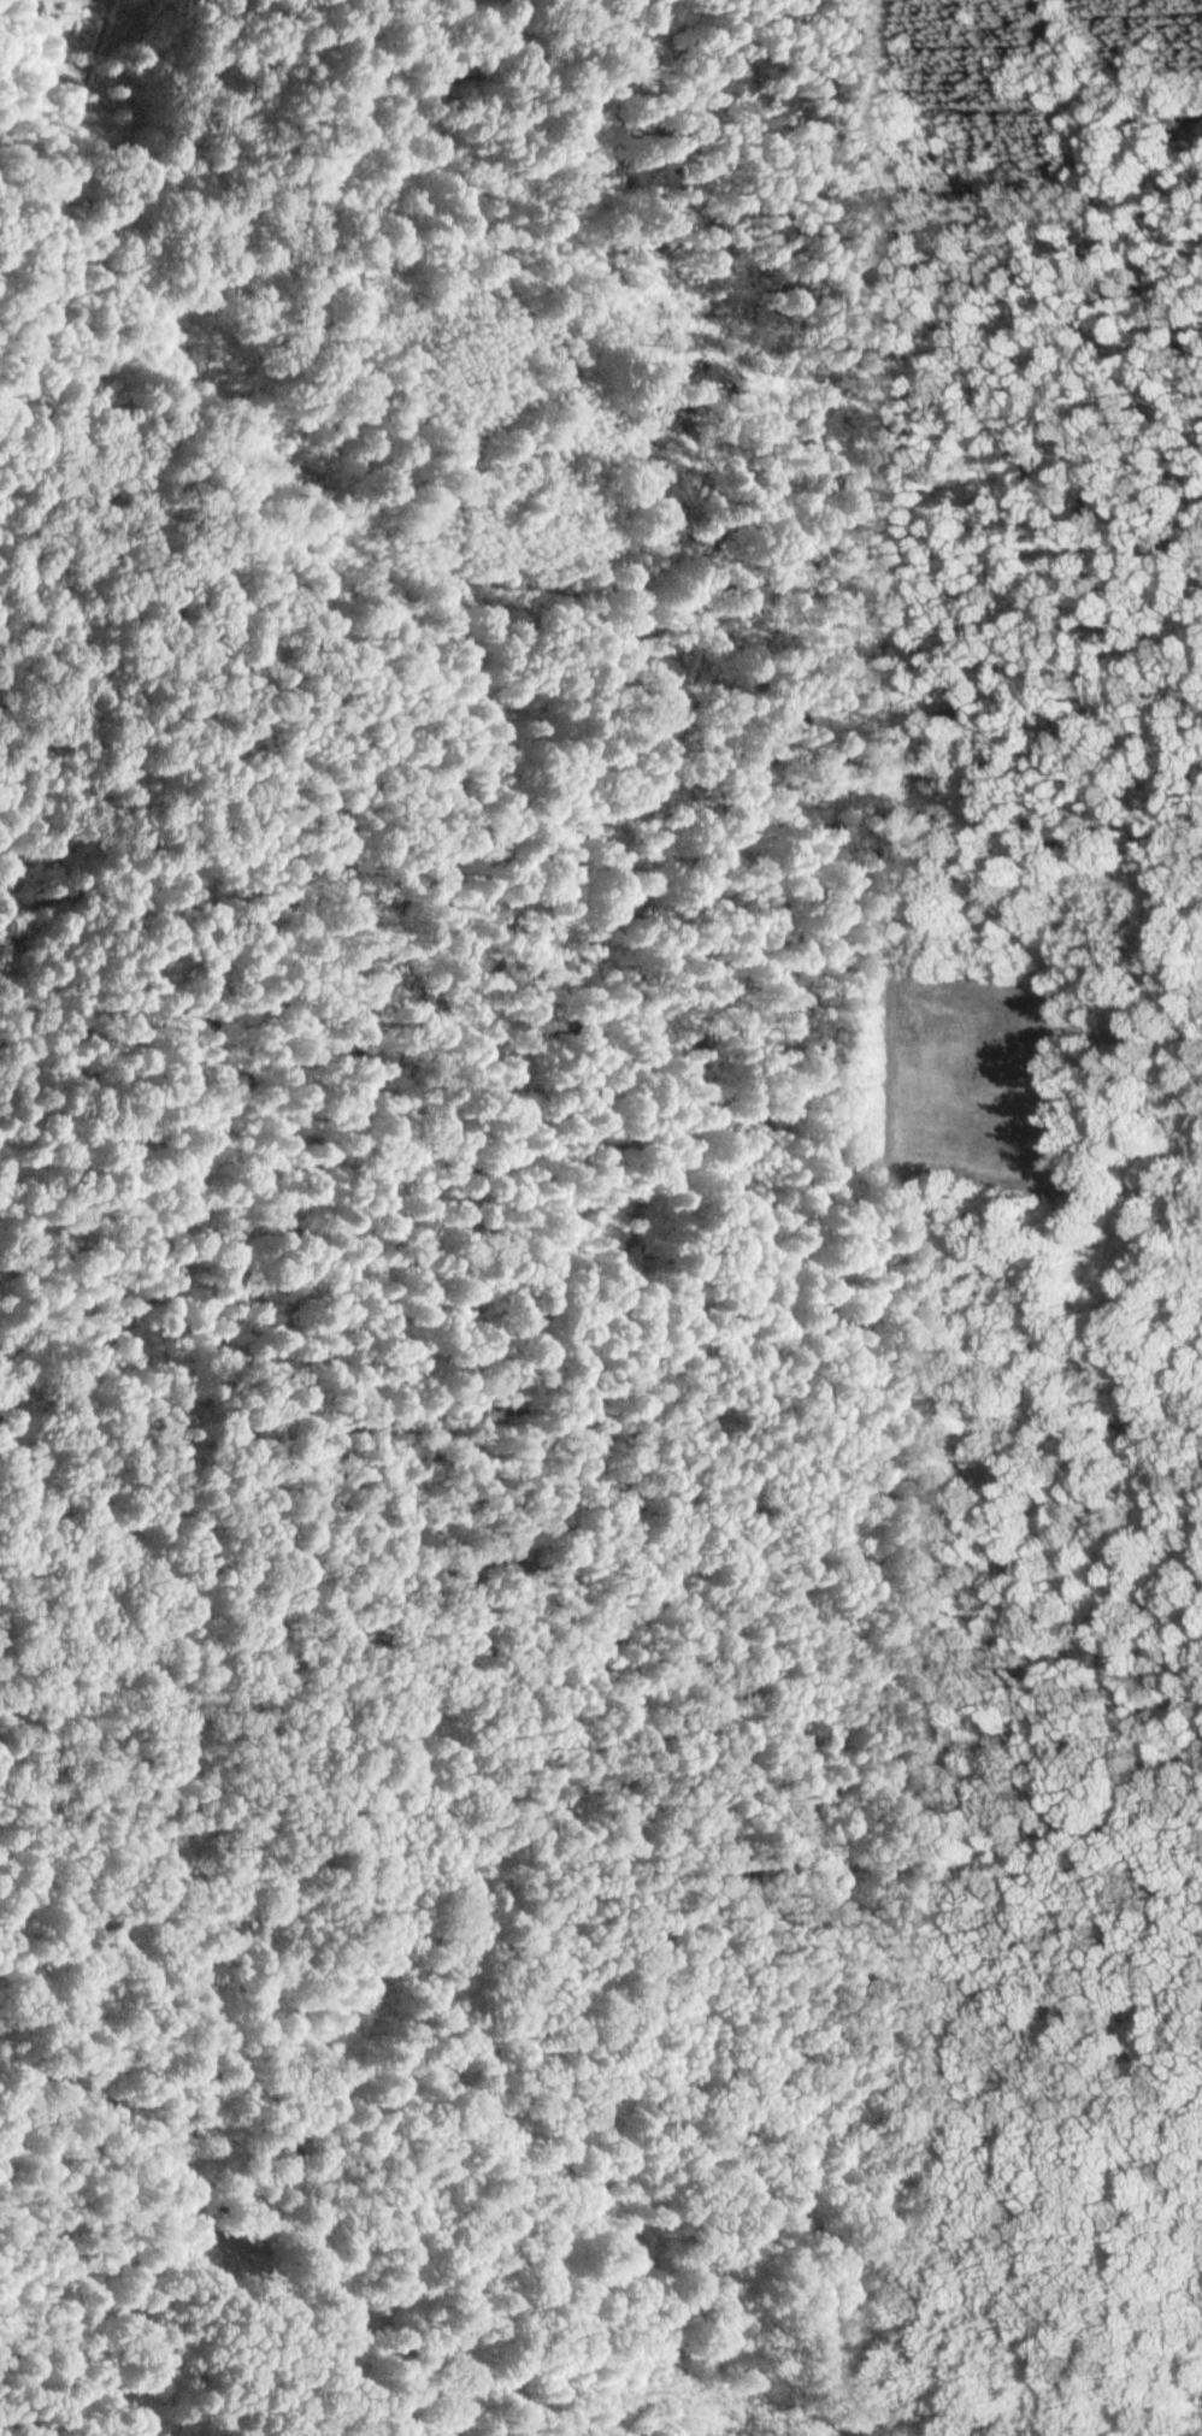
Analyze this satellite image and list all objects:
building: (1145, 1219)

